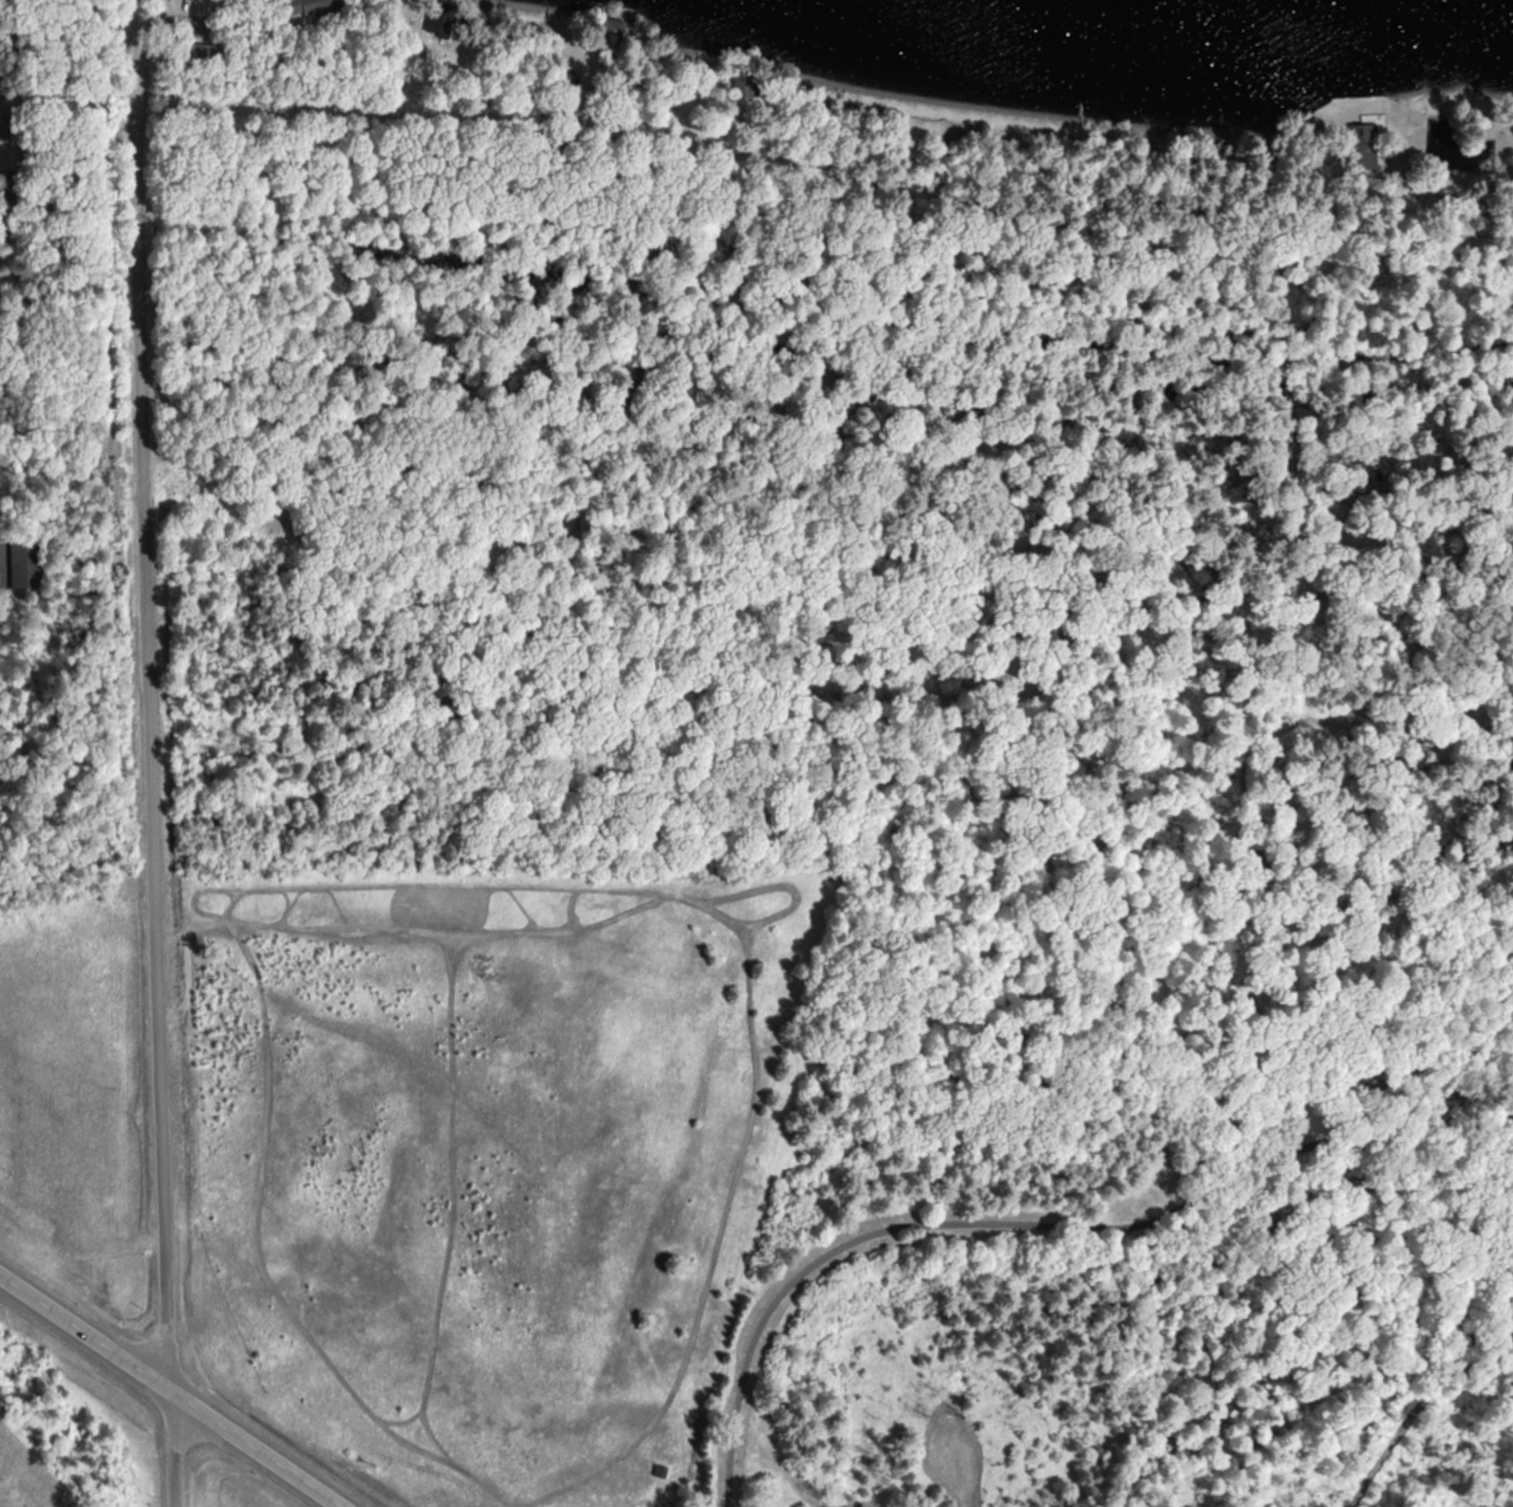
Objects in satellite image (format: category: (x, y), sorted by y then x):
building: (311, 8)
road: (0, 17)
building: (439, 20)
building: (610, 30)
building: (198, 54)
building: (565, 74)
building: (740, 83)
building: (1361, 146)
road: (1385, 222)
building: (1467, 234)
road: (73, 468)
road: (1286, 505)
building: (23, 565)
road: (151, 753)
road: (170, 1392)

